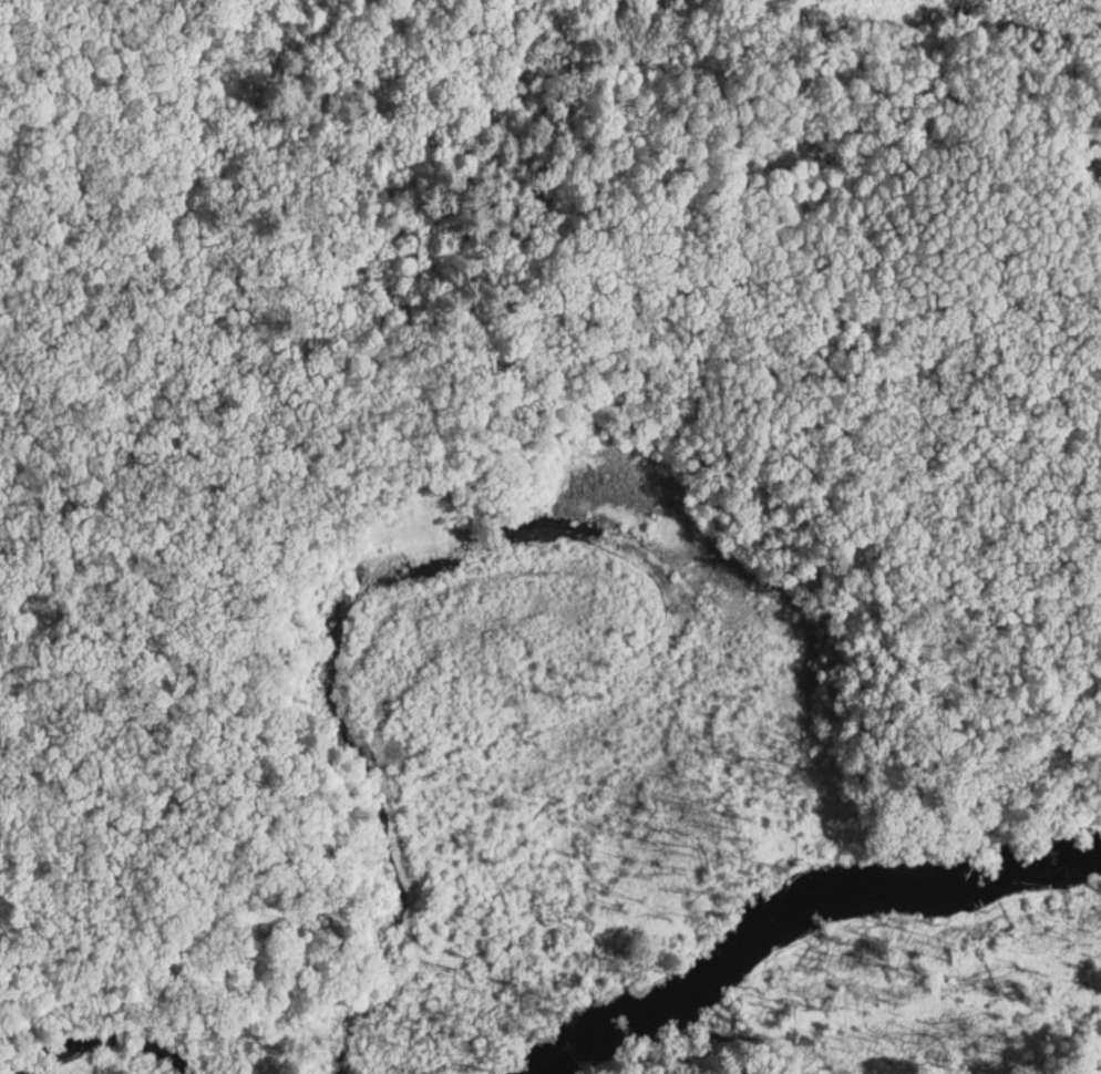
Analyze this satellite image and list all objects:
river: (811, 906)

